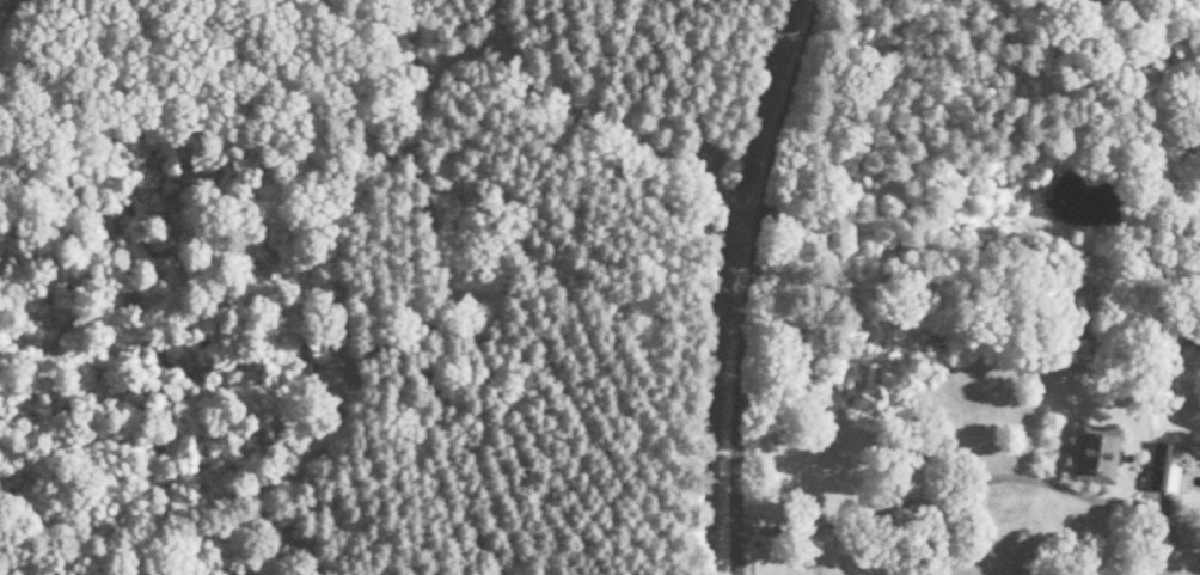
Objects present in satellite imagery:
road: (778, 285)
building: (1098, 452)
building: (1174, 460)

